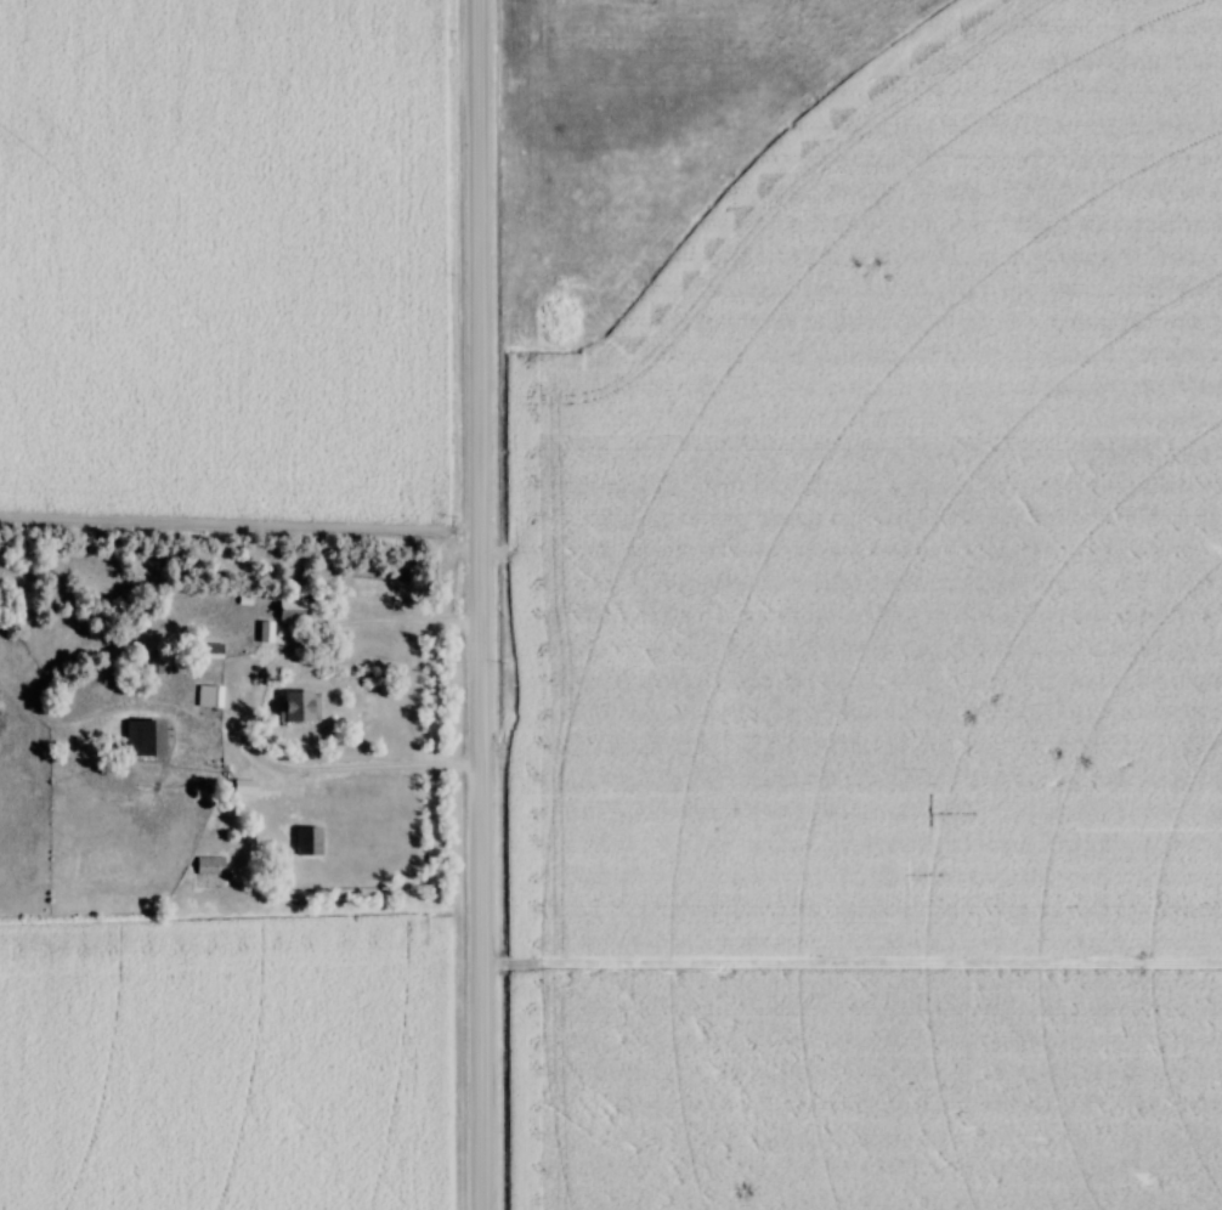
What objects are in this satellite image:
road: (470, 605)
building: (294, 609)
building: (214, 651)
building: (158, 665)
building: (211, 695)
building: (304, 705)
road: (237, 709)
building: (148, 737)
building: (249, 786)
building: (311, 839)
building: (211, 865)

